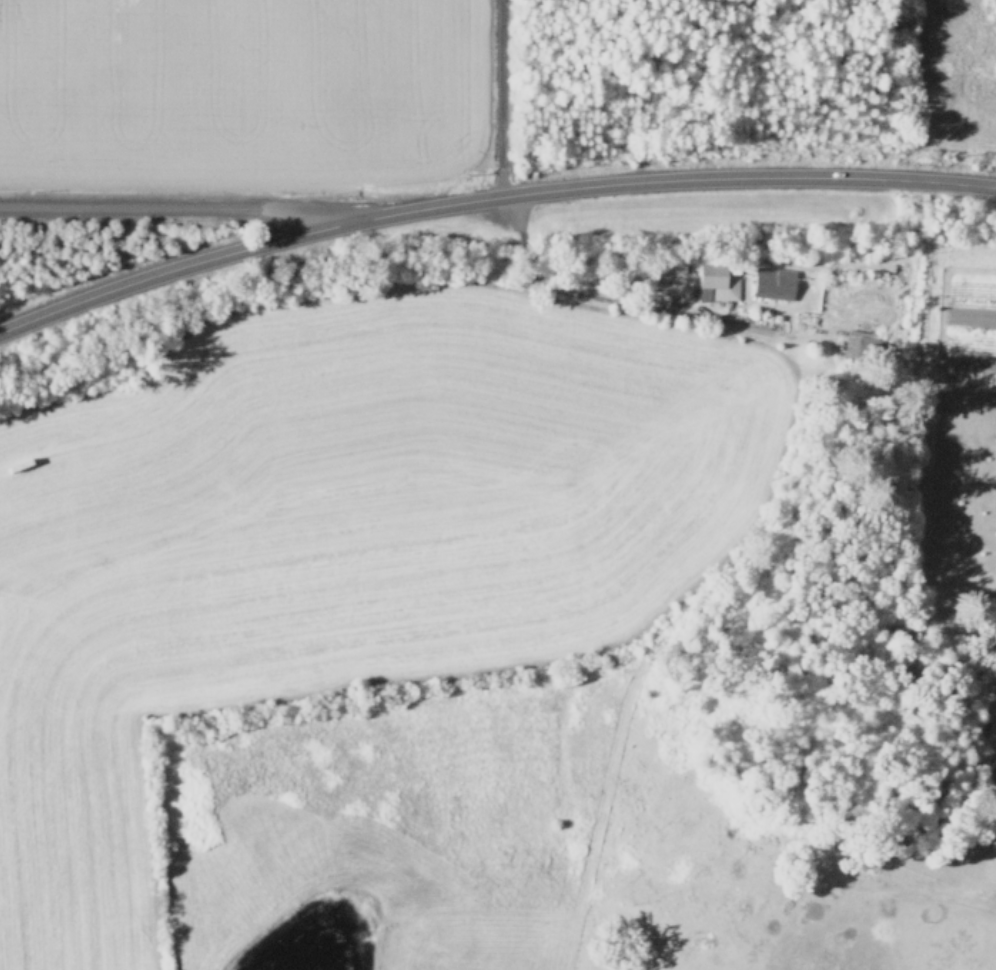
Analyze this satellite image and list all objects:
crop: (231, 91)
road: (493, 97)
road: (489, 195)
road: (176, 204)
building: (716, 280)
building: (774, 280)
road: (612, 299)
building: (855, 342)
crop: (518, 639)

